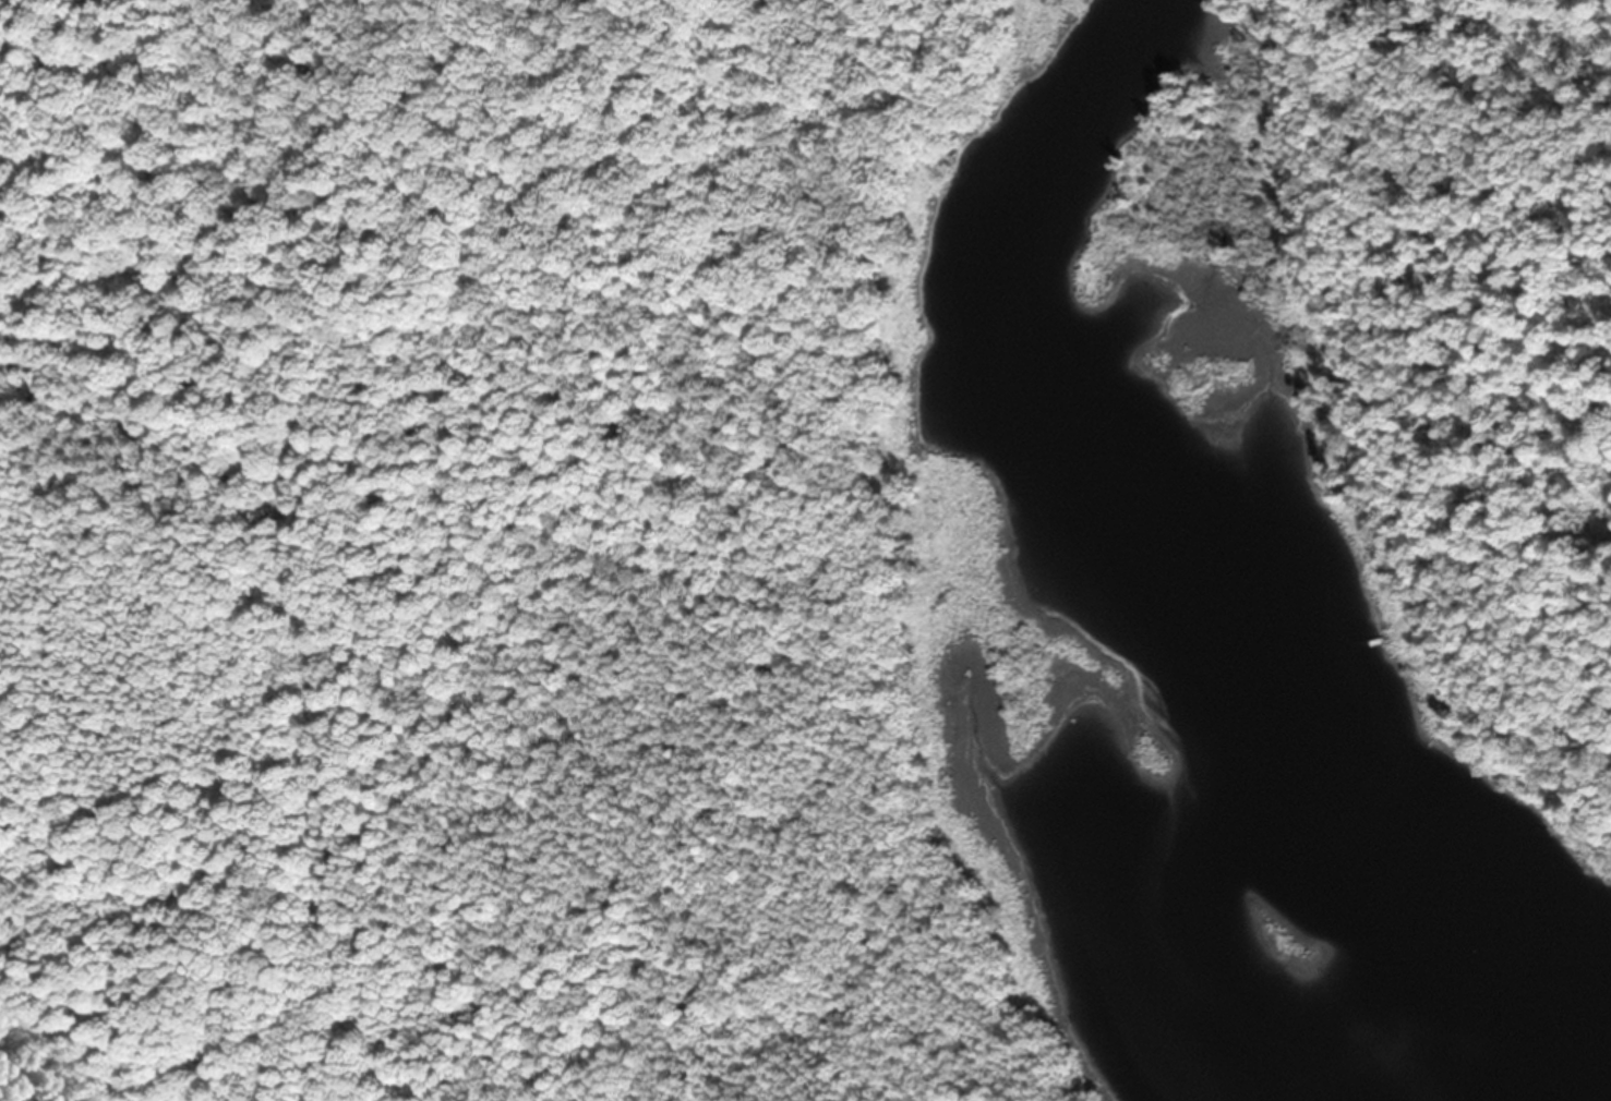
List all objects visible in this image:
crop: (0, 2)

